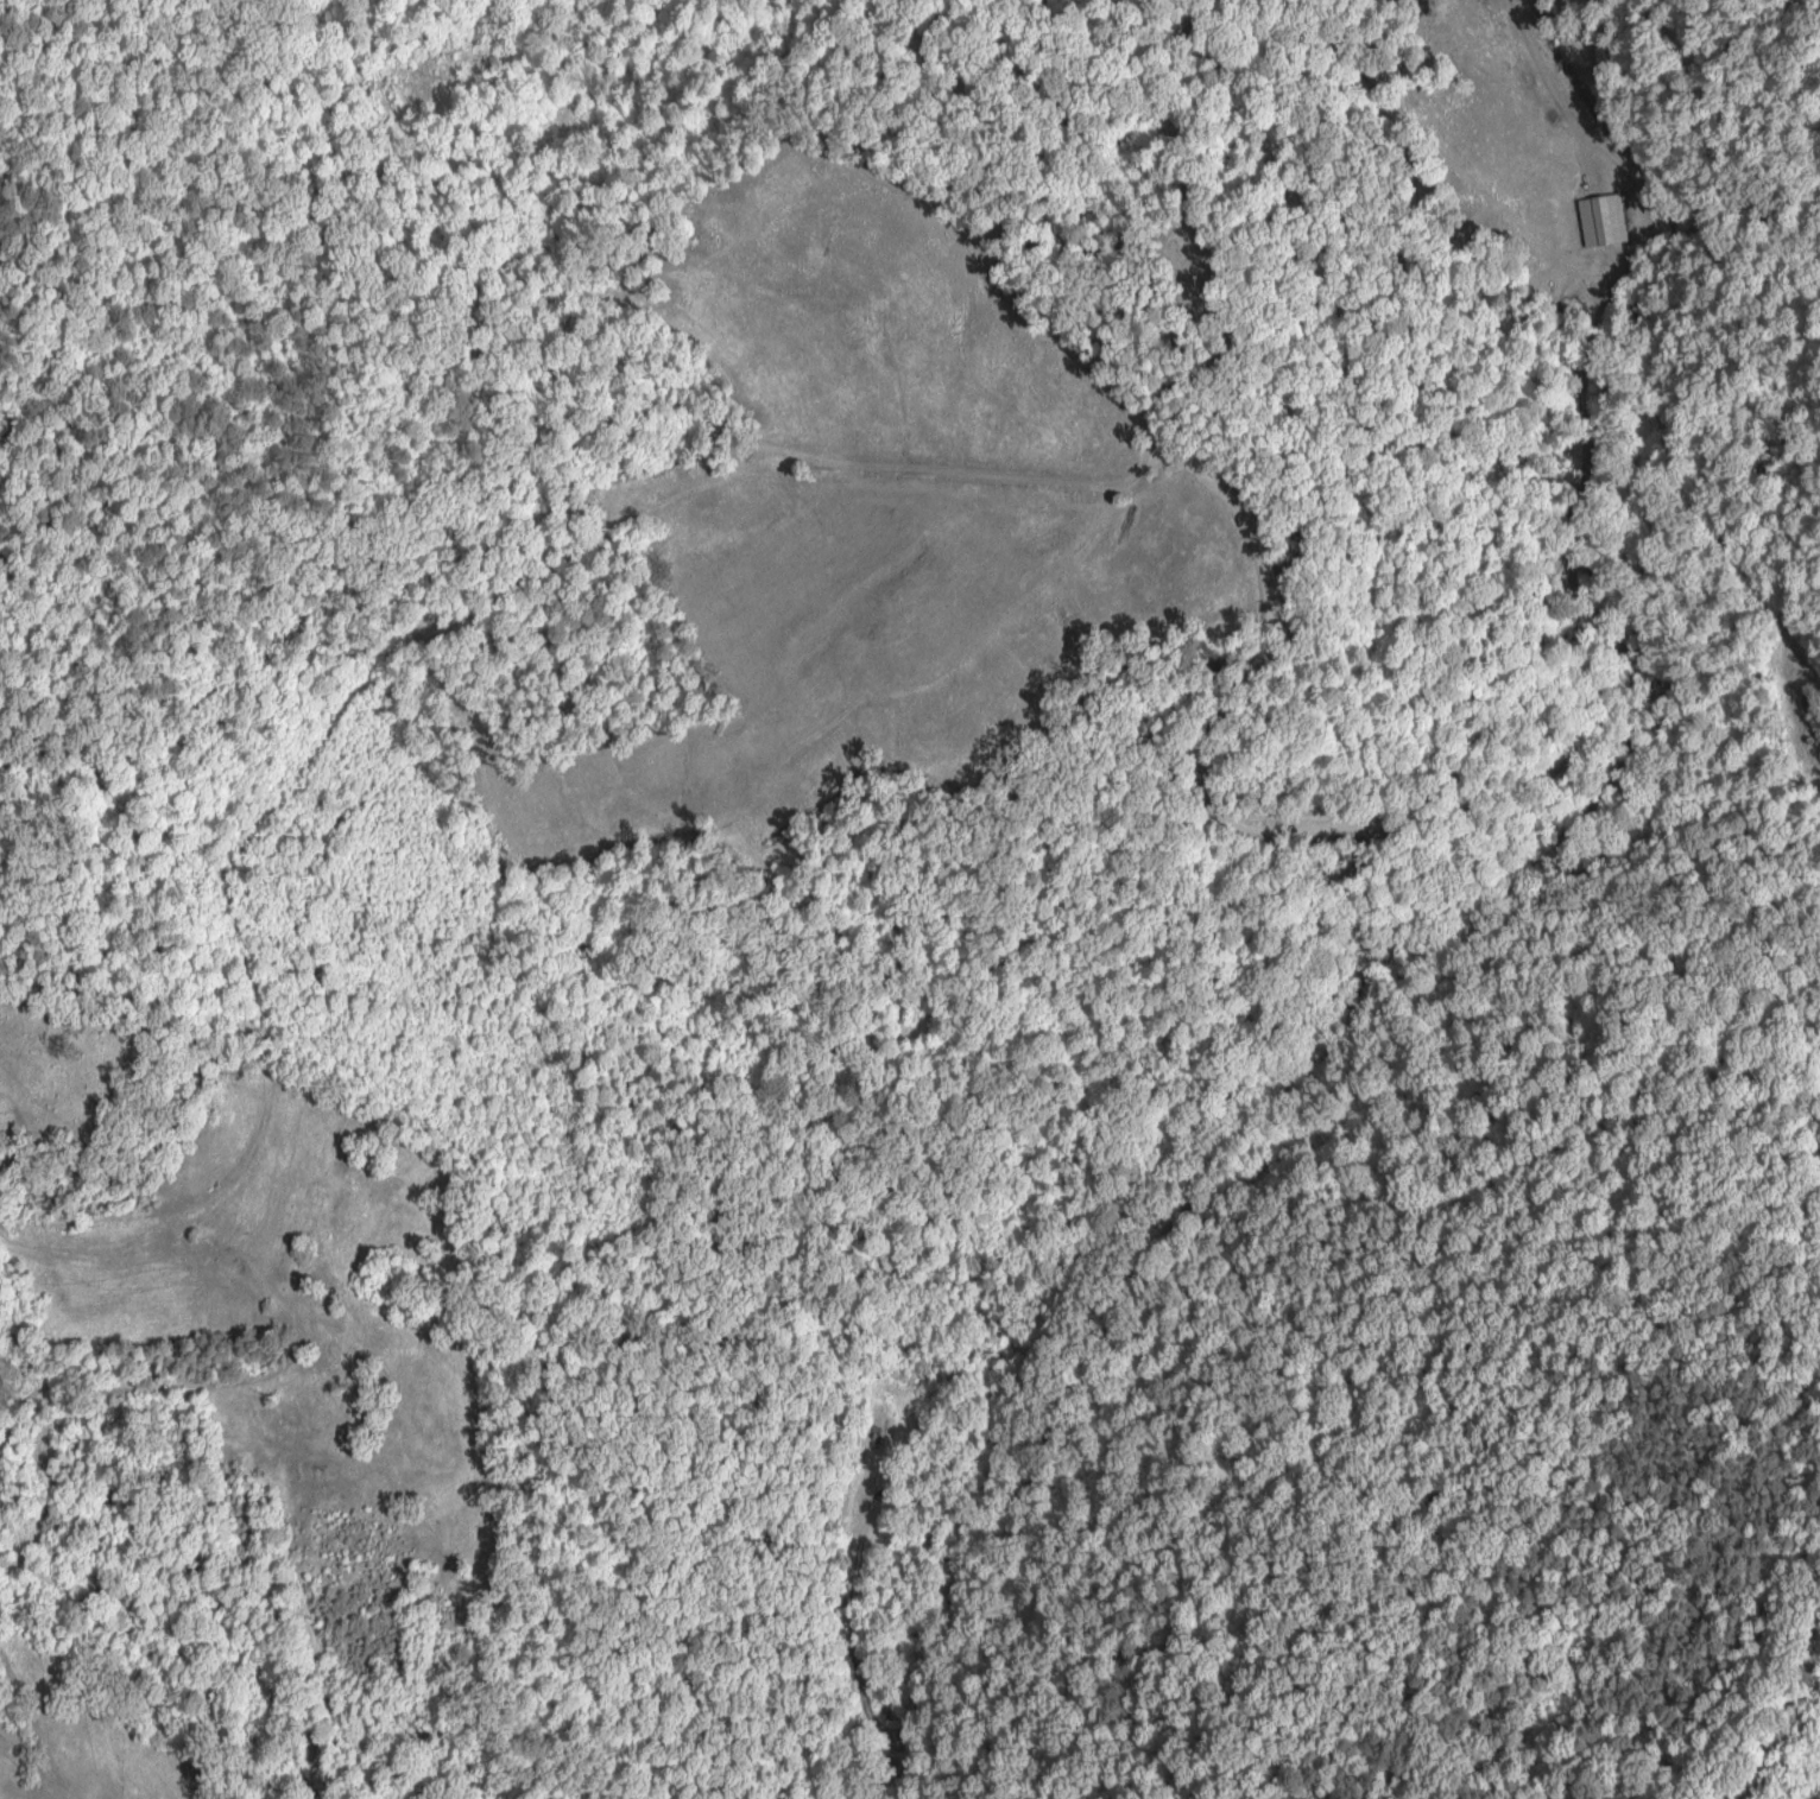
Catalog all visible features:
road: (1645, 366)

